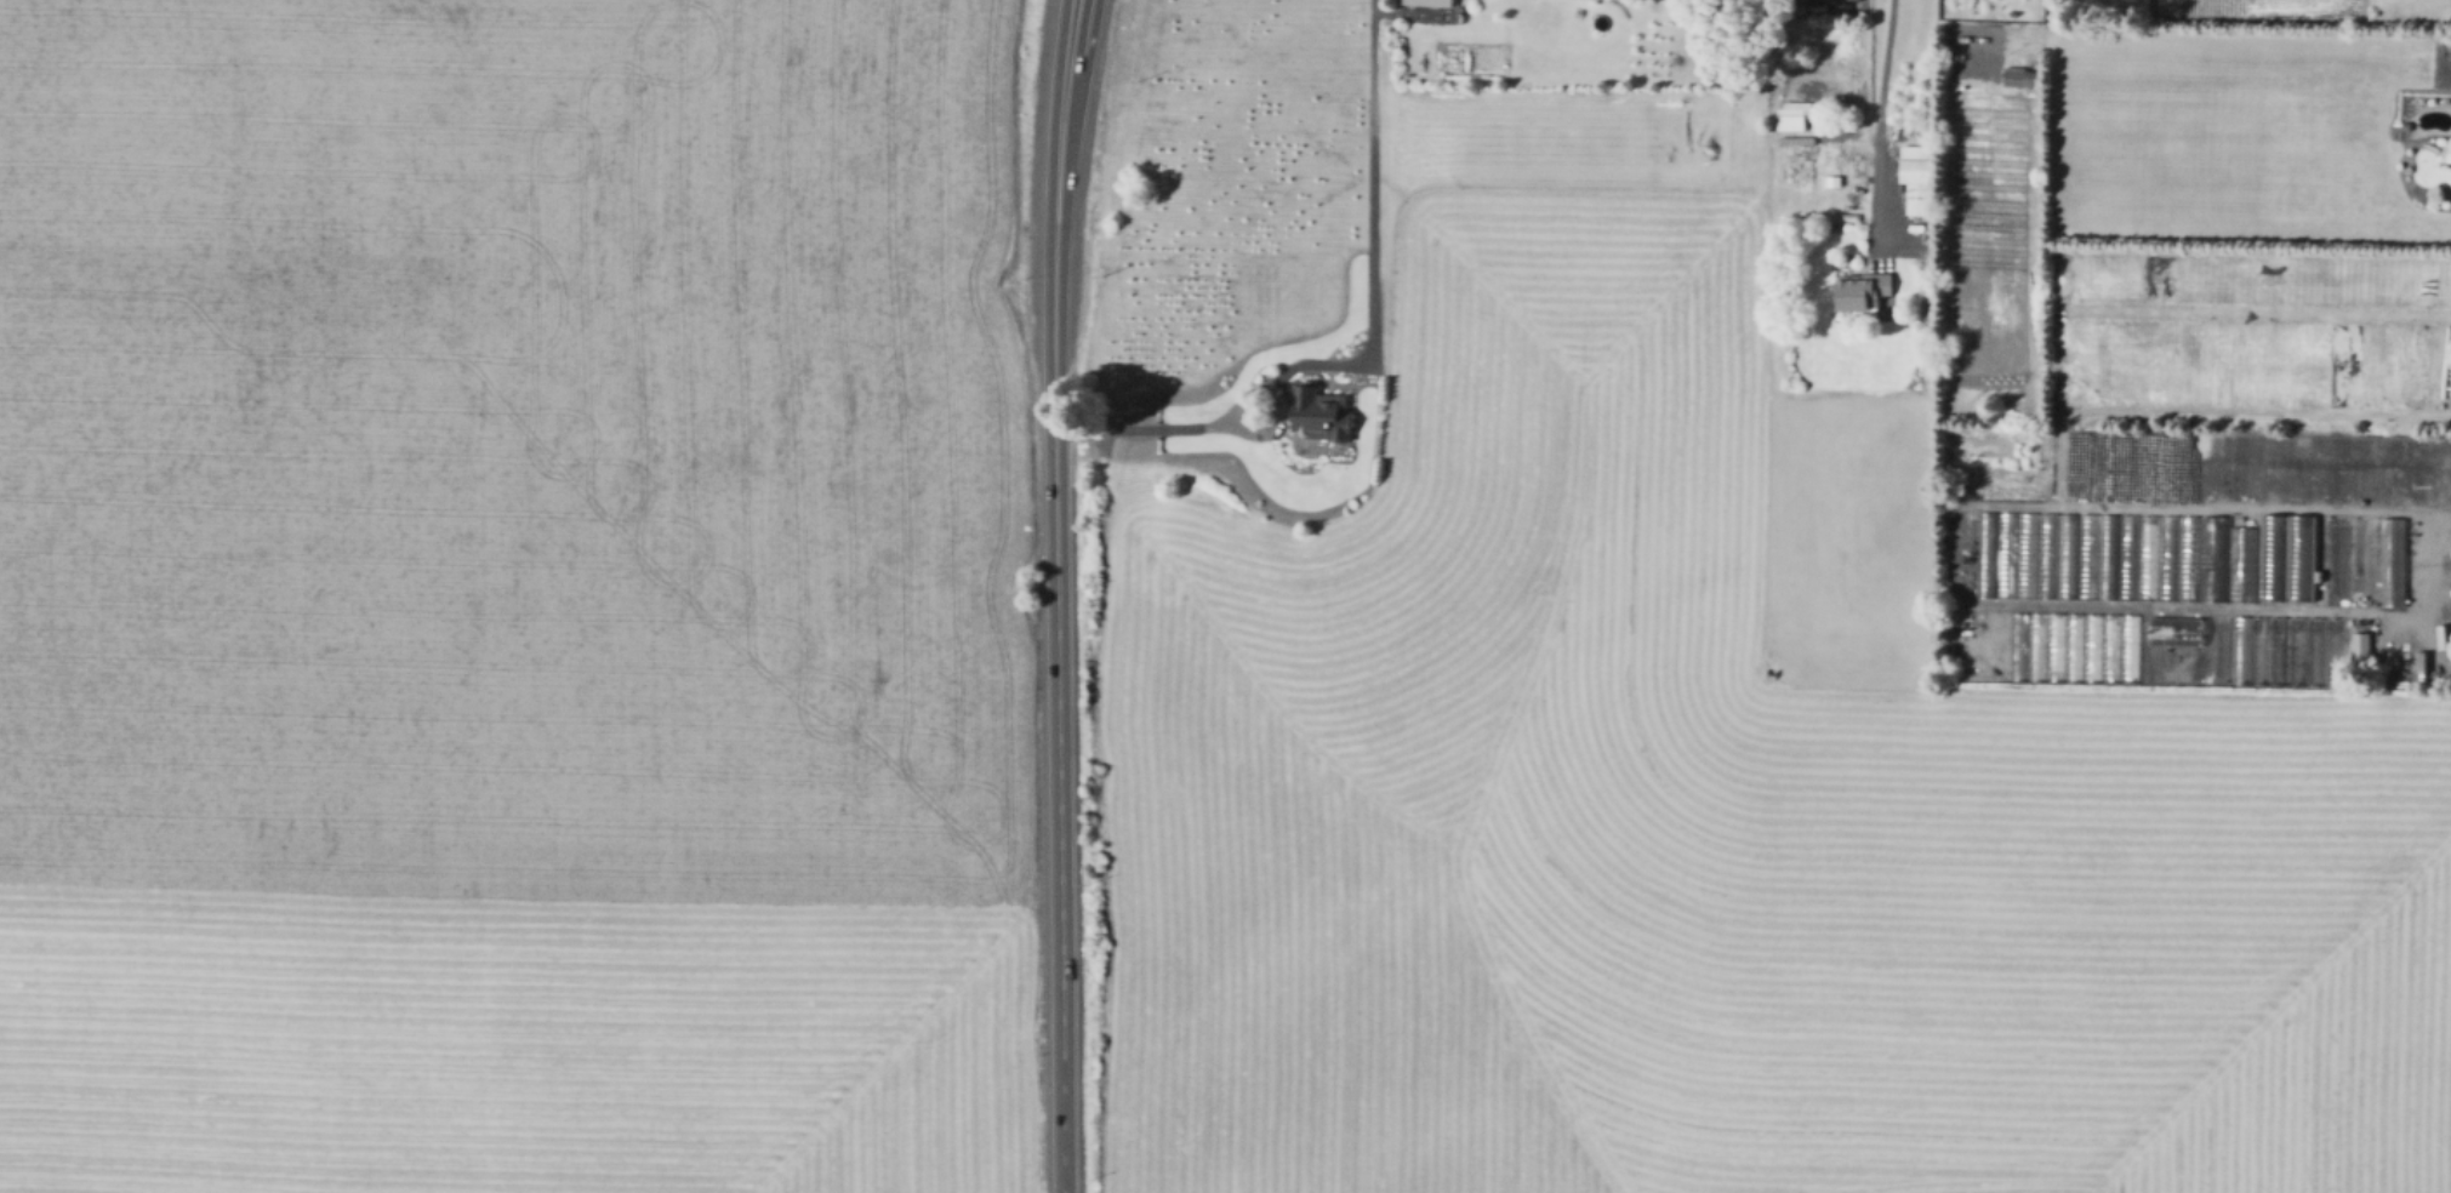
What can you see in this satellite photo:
building: (1440, 2)
building: (2016, 75)
building: (1795, 115)
road: (1880, 127)
building: (1921, 185)
building: (1863, 290)
road: (1363, 356)
building: (2069, 388)
road: (1242, 395)
building: (1317, 413)
road: (2439, 508)
building: (1984, 555)
building: (2005, 555)
building: (2025, 555)
building: (2046, 556)
building: (2065, 556)
building: (2086, 556)
building: (2107, 558)
building: (2126, 558)
building: (2147, 558)
building: (2166, 558)
building: (2212, 558)
building: (2188, 559)
building: (2272, 559)
building: (2298, 559)
building: (2335, 561)
building: (2362, 563)
building: (2390, 563)
building: (2240, 565)
road: (1056, 595)
crop: (517, 596)
road: (1966, 599)
building: (2361, 646)
building: (2016, 647)
building: (2034, 649)
building: (2053, 649)
building: (2071, 649)
building: (2091, 649)
building: (2109, 650)
building: (2128, 650)
building: (2147, 650)
building: (2166, 650)
building: (2222, 650)
building: (2184, 651)
building: (2204, 651)
building: (2240, 651)
building: (2259, 651)
building: (2297, 651)
building: (2279, 652)
building: (2315, 652)
building: (2333, 652)
crop: (1640, 723)

